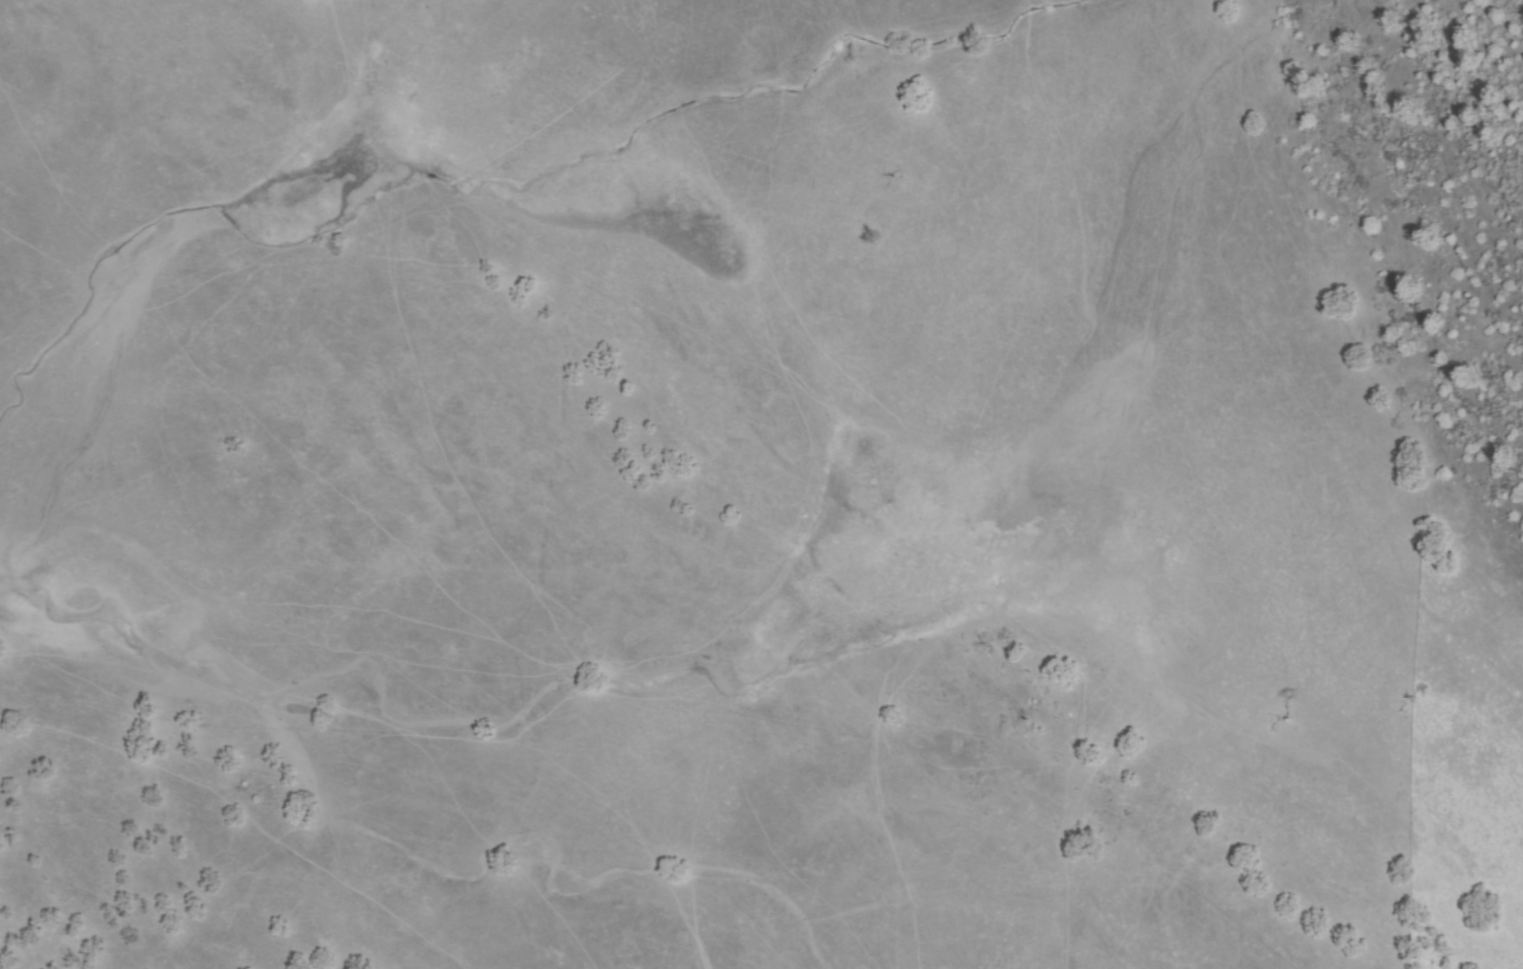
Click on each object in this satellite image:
road: (1071, 867)

